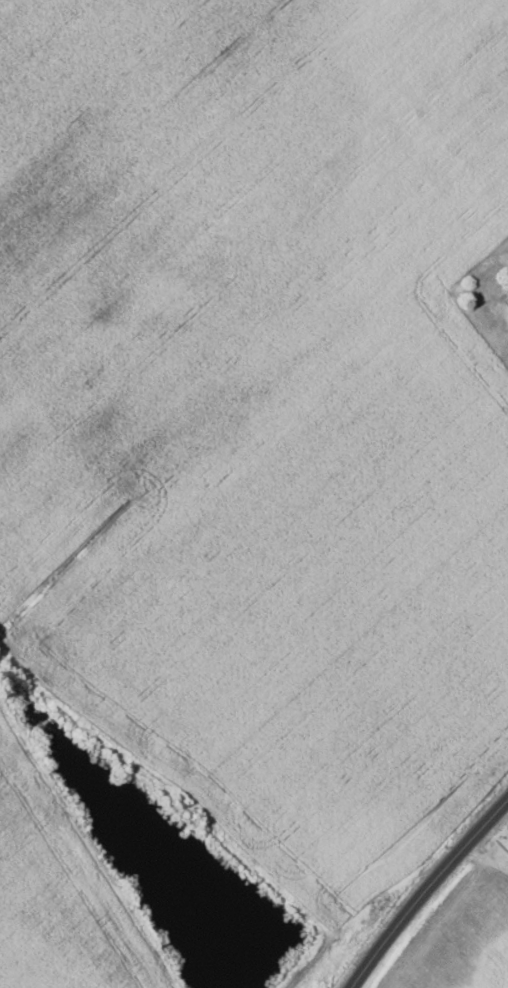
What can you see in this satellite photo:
road: (436, 906)

